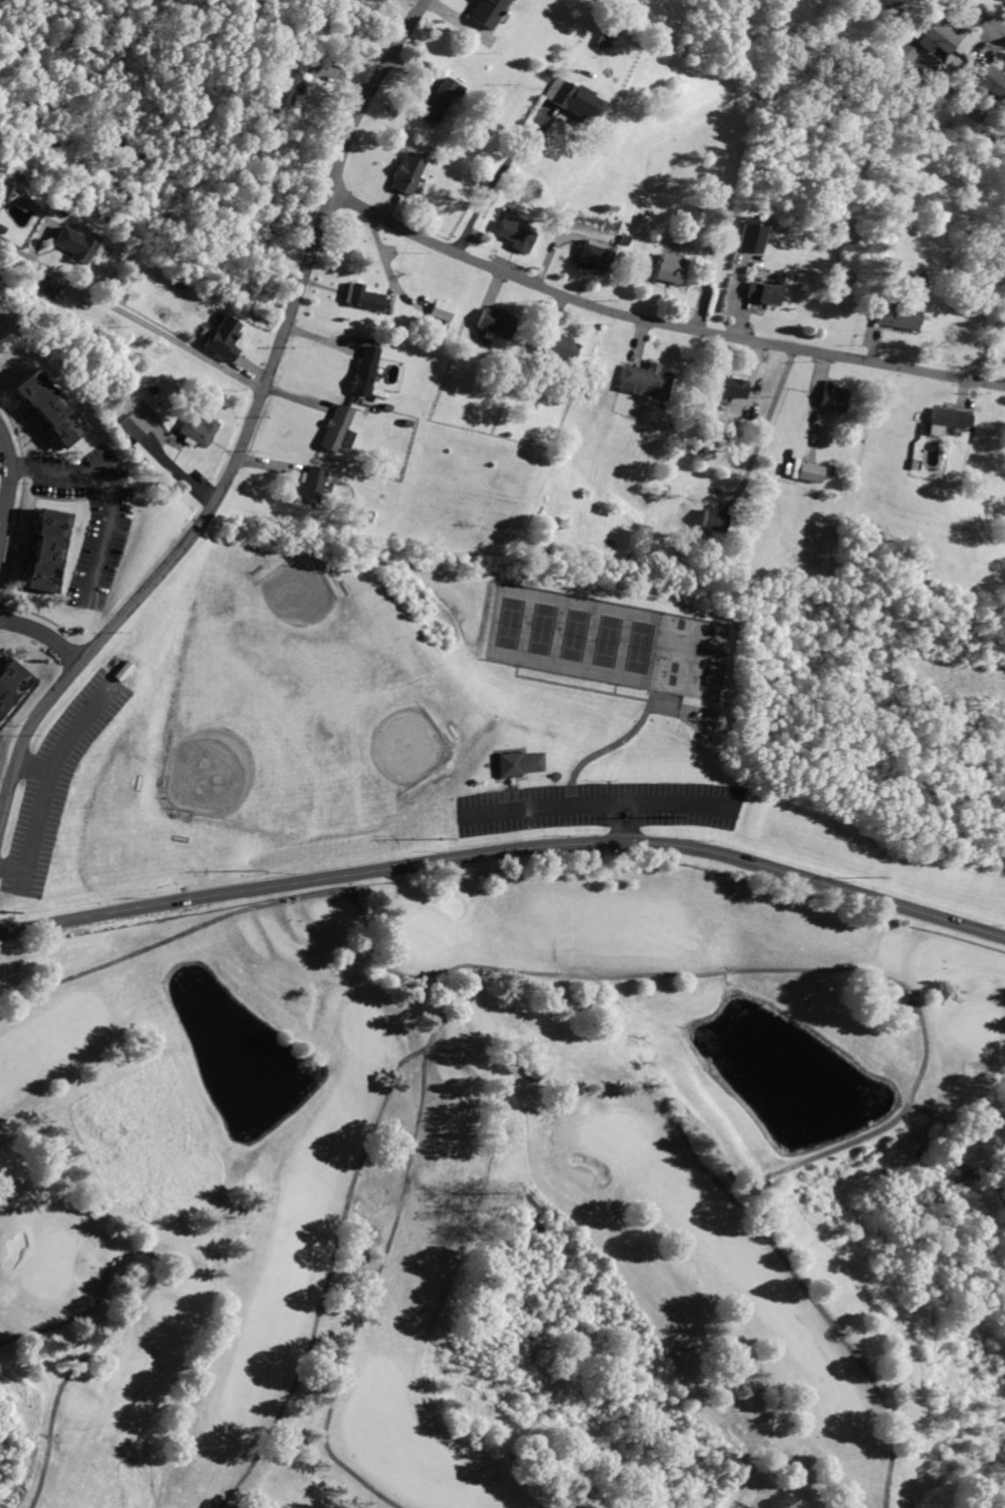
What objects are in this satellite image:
building: (893, 3)
building: (488, 11)
road: (980, 17)
building: (939, 37)
building: (908, 54)
building: (289, 81)
building: (993, 82)
building: (438, 96)
building: (576, 99)
building: (407, 171)
road: (498, 173)
building: (514, 233)
building: (751, 233)
building: (75, 243)
building: (591, 255)
building: (666, 268)
building: (766, 293)
building: (365, 296)
building: (442, 309)
road: (122, 310)
building: (900, 313)
building: (494, 322)
road: (657, 322)
building: (222, 336)
building: (558, 346)
building: (364, 371)
building: (647, 379)
building: (734, 385)
building: (835, 394)
building: (52, 405)
building: (950, 417)
building: (135, 424)
building: (336, 427)
building: (197, 430)
road: (247, 431)
road: (764, 431)
building: (812, 469)
building: (314, 482)
road: (11, 492)
road: (113, 497)
building: (717, 518)
building: (50, 546)
park: (299, 627)
park: (571, 633)
road: (43, 634)
park: (674, 642)
park: (706, 648)
park: (367, 659)
park: (299, 660)
park: (232, 676)
park: (667, 681)
building: (12, 682)
park: (700, 687)
park: (382, 731)
park: (378, 739)
road: (614, 741)
park: (243, 744)
building: (513, 761)
park: (300, 763)
parking lot: (55, 782)
road: (657, 805)
road: (547, 806)
parking lot: (597, 806)
road: (42, 816)
road: (505, 848)
park: (426, 928)
road: (462, 988)
park: (361, 1023)
building: (535, 1070)
road: (668, 1100)
road: (908, 1110)
park: (610, 1132)
road: (967, 1136)
park: (496, 1191)
road: (328, 1276)
road: (143, 1298)

